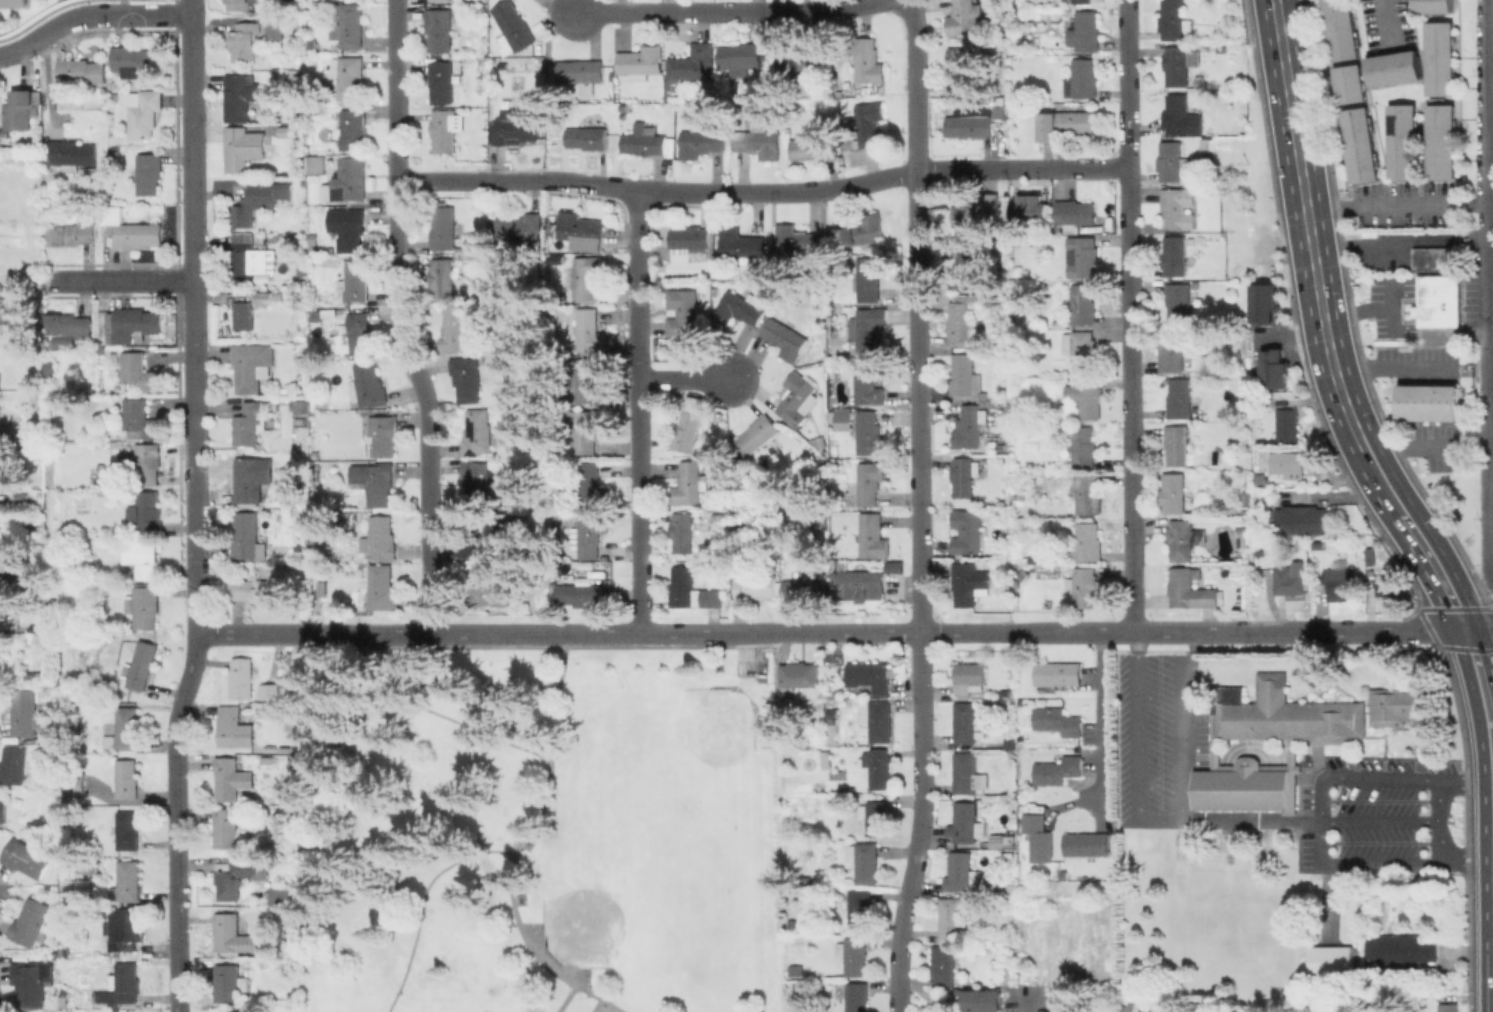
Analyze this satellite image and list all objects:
building: (437, 0)
building: (1082, 1)
building: (13, 3)
building: (239, 5)
building: (1432, 5)
building: (299, 6)
road: (732, 11)
road: (89, 14)
building: (963, 16)
building: (1175, 21)
road: (1489, 22)
building: (349, 25)
building: (512, 25)
building: (273, 27)
building: (440, 28)
building: (1340, 29)
building: (1085, 31)
building: (244, 40)
building: (312, 46)
building: (740, 54)
building: (799, 56)
building: (1439, 58)
building: (132, 60)
building: (641, 60)
building: (868, 60)
building: (694, 64)
building: (963, 64)
building: (1177, 64)
building: (1394, 67)
building: (82, 70)
building: (579, 72)
building: (348, 76)
building: (294, 77)
building: (1082, 78)
building: (444, 80)
building: (518, 83)
building: (1349, 83)
building: (62, 93)
road: (1491, 94)
building: (239, 96)
building: (20, 110)
building: (145, 114)
building: (1181, 115)
building: (869, 122)
building: (1065, 124)
building: (971, 125)
building: (352, 127)
building: (514, 127)
building: (290, 129)
building: (443, 129)
building: (1238, 130)
building: (587, 137)
building: (643, 140)
building: (1401, 140)
building: (1439, 140)
building: (701, 141)
building: (758, 141)
building: (1358, 144)
building: (814, 146)
building: (243, 147)
building: (70, 149)
building: (1169, 160)
building: (315, 164)
road: (1089, 167)
road: (1028, 168)
building: (149, 172)
building: (97, 175)
building: (351, 179)
road: (702, 192)
building: (261, 201)
road: (1398, 203)
building: (1034, 208)
building: (1178, 209)
building: (977, 213)
building: (1076, 213)
building: (580, 226)
building: (347, 227)
building: (443, 227)
building: (520, 227)
road: (1309, 228)
building: (130, 230)
building: (861, 231)
building: (73, 233)
building: (795, 237)
building: (689, 242)
road: (1374, 242)
building: (313, 243)
building: (741, 245)
road: (1491, 247)
building: (331, 249)
building: (468, 249)
building: (1175, 254)
building: (1081, 255)
building: (1436, 257)
building: (250, 258)
building: (966, 266)
building: (302, 270)
building: (587, 275)
road: (1492, 275)
building: (868, 276)
building: (443, 280)
road: (118, 281)
building: (355, 281)
road: (193, 293)
building: (264, 297)
building: (1438, 300)
building: (1178, 301)
building: (1266, 303)
building: (1082, 305)
building: (742, 306)
building: (683, 310)
building: (243, 315)
building: (320, 315)
road: (918, 315)
road: (1129, 315)
road: (399, 319)
building: (963, 321)
building: (133, 323)
building: (871, 327)
building: (69, 328)
building: (455, 329)
building: (590, 330)
building: (357, 331)
building: (783, 337)
building: (1080, 348)
building: (1171, 349)
building: (250, 364)
road: (1412, 365)
building: (51, 366)
building: (1276, 368)
building: (139, 371)
building: (8, 372)
building: (964, 375)
building: (589, 376)
building: (467, 377)
road: (684, 377)
building: (867, 380)
building: (367, 384)
building: (1087, 396)
building: (1179, 396)
building: (796, 398)
building: (1430, 401)
building: (299, 409)
road: (637, 410)
building: (142, 418)
building: (843, 418)
building: (249, 423)
building: (1286, 423)
building: (970, 428)
building: (587, 429)
building: (686, 431)
building: (477, 432)
building: (757, 433)
building: (869, 433)
building: (383, 434)
building: (0, 435)
building: (1176, 443)
building: (1083, 445)
road: (1405, 445)
building: (315, 454)
building: (1286, 461)
building: (148, 463)
building: (716, 466)
building: (5, 473)
building: (964, 475)
building: (480, 476)
building: (250, 477)
building: (374, 480)
building: (869, 480)
road: (1379, 480)
building: (688, 483)
building: (592, 484)
building: (1020, 492)
building: (1173, 492)
building: (1089, 493)
building: (22, 497)
building: (1247, 500)
building: (150, 510)
building: (1237, 513)
building: (1300, 519)
building: (684, 530)
building: (966, 531)
building: (591, 532)
building: (739, 533)
building: (872, 535)
building: (247, 537)
building: (490, 537)
building: (1241, 537)
building: (378, 539)
building: (1180, 539)
building: (1088, 540)
building: (1000, 553)
building: (141, 559)
road: (1434, 566)
building: (8, 570)
building: (1290, 579)
building: (969, 582)
building: (1341, 582)
building: (861, 583)
building: (1386, 584)
road: (1487, 585)
building: (382, 586)
building: (487, 586)
building: (758, 586)
building: (1085, 586)
building: (690, 589)
building: (805, 589)
building: (254, 590)
building: (322, 590)
building: (1190, 590)
building: (580, 594)
road: (1487, 599)
building: (146, 606)
road: (1474, 609)
road: (1492, 609)
road: (1492, 610)
road: (197, 611)
road: (1478, 627)
traffic signals: (1464, 628)
road: (1121, 631)
road: (247, 634)
road: (537, 634)
building: (0, 654)
building: (142, 663)
building: (1058, 673)
building: (799, 674)
building: (873, 675)
building: (969, 676)
building: (243, 678)
road: (1482, 684)
building: (270, 689)
building: (1004, 690)
building: (1400, 705)
road: (437, 713)
building: (1285, 713)
building: (27, 714)
road: (1099, 715)
building: (880, 720)
building: (1058, 720)
building: (965, 722)
building: (291, 723)
road: (1185, 724)
building: (832, 726)
building: (127, 727)
building: (234, 728)
building: (286, 747)
road: (1141, 748)
building: (47, 754)
building: (13, 764)
building: (879, 767)
building: (1058, 770)
building: (965, 772)
building: (839, 774)
building: (127, 778)
building: (231, 778)
building: (76, 785)
building: (1249, 786)
building: (3, 809)
building: (876, 815)
road: (177, 821)
road: (921, 822)
building: (968, 822)
road: (1254, 822)
road: (1323, 823)
building: (227, 828)
building: (127, 829)
park: (537, 831)
building: (1039, 837)
building: (1086, 842)
building: (1009, 843)
road: (519, 844)
building: (1006, 854)
building: (27, 860)
building: (865, 860)
building: (962, 871)
building: (234, 876)
building: (129, 879)
building: (274, 899)
road: (424, 902)
building: (860, 909)
building: (951, 918)
building: (32, 923)
building: (793, 924)
building: (227, 930)
building: (126, 931)
building: (1329, 936)
building: (1400, 949)
building: (854, 954)
building: (1329, 960)
building: (943, 966)
building: (796, 969)
building: (230, 982)
building: (32, 983)
building: (123, 984)
building: (794, 988)
building: (1060, 988)
building: (857, 997)
road: (567, 998)
building: (984, 1001)
building: (64, 1002)
road: (1032, 1003)
building: (1192, 1006)
building: (1450, 1007)
building: (1126, 1008)
building: (1110, 1009)
building: (122, 1010)

